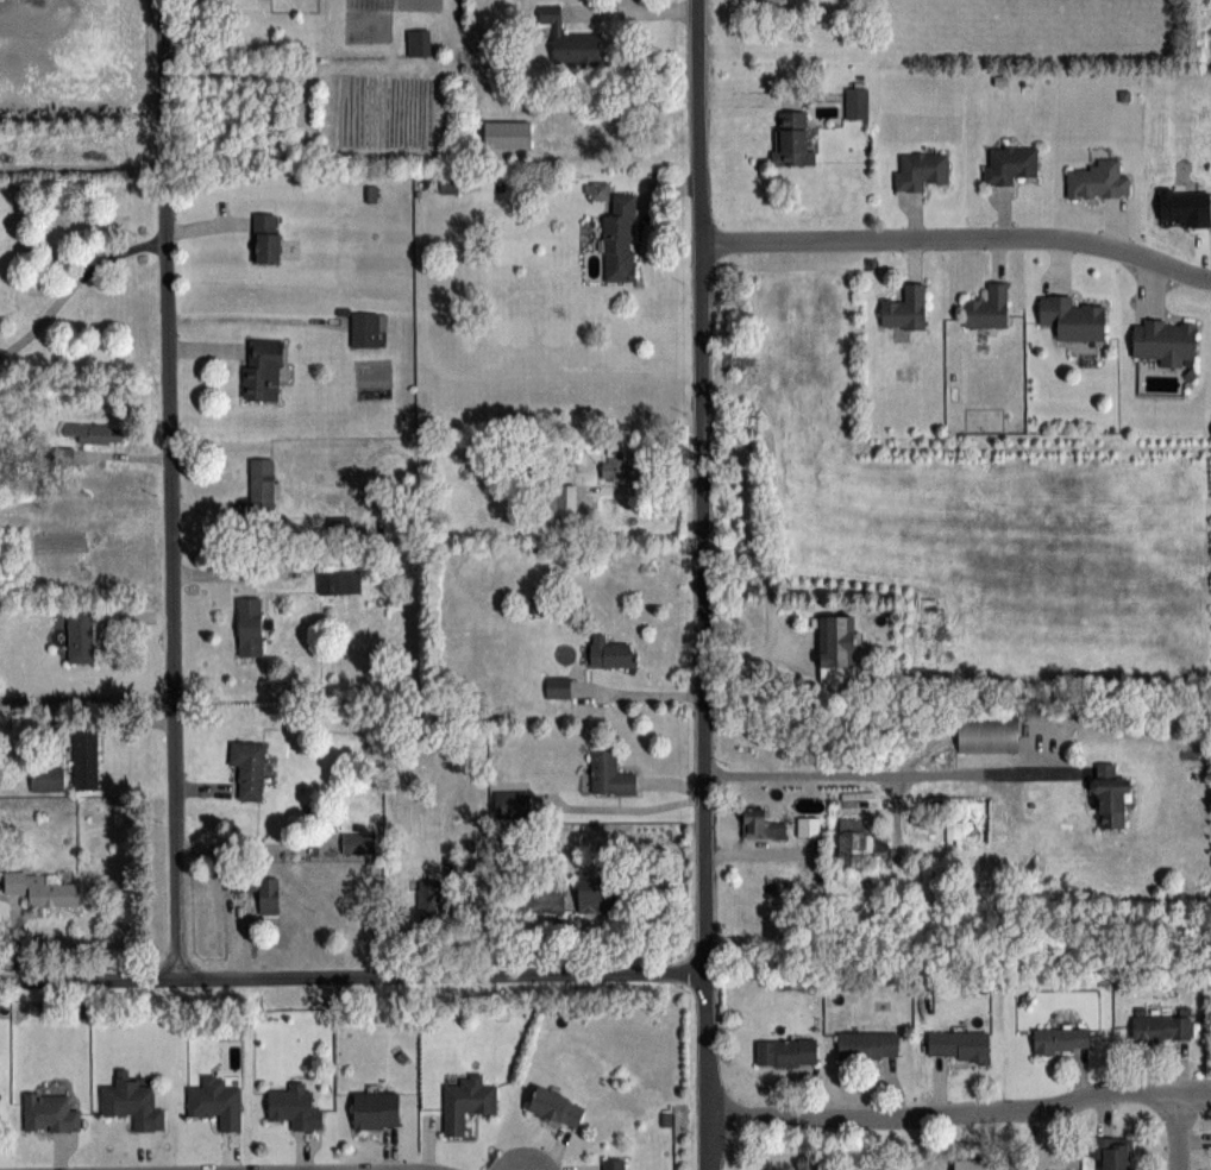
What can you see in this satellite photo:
building: (569, 38)
building: (418, 42)
building: (506, 133)
building: (790, 139)
building: (1009, 163)
building: (921, 170)
building: (1098, 181)
building: (265, 237)
road: (959, 238)
building: (619, 239)
road: (74, 289)
building: (987, 307)
building: (905, 308)
building: (1072, 319)
building: (366, 328)
building: (1163, 341)
building: (262, 369)
building: (621, 470)
building: (262, 484)
road: (169, 487)
building: (563, 498)
crop: (980, 518)
building: (338, 580)
road: (702, 584)
building: (249, 625)
building: (80, 636)
building: (836, 647)
building: (610, 652)
building: (557, 686)
road: (636, 694)
building: (987, 735)
building: (84, 757)
building: (249, 768)
road: (892, 772)
building: (609, 774)
building: (46, 779)
building: (1110, 795)
building: (760, 824)
building: (808, 826)
building: (358, 842)
building: (859, 842)
building: (43, 891)
building: (259, 891)
building: (597, 894)
building: (431, 899)
building: (546, 899)
road: (351, 975)
building: (1162, 1026)
building: (1061, 1039)
building: (867, 1044)
building: (958, 1044)
building: (786, 1051)
building: (132, 1101)
building: (215, 1101)
building: (466, 1101)
building: (295, 1106)
building: (556, 1106)
building: (376, 1109)
road: (959, 1109)
building: (49, 1112)
road: (1187, 1128)
building: (1112, 1151)
building: (614, 1163)
building: (807, 1163)
building: (973, 1163)

